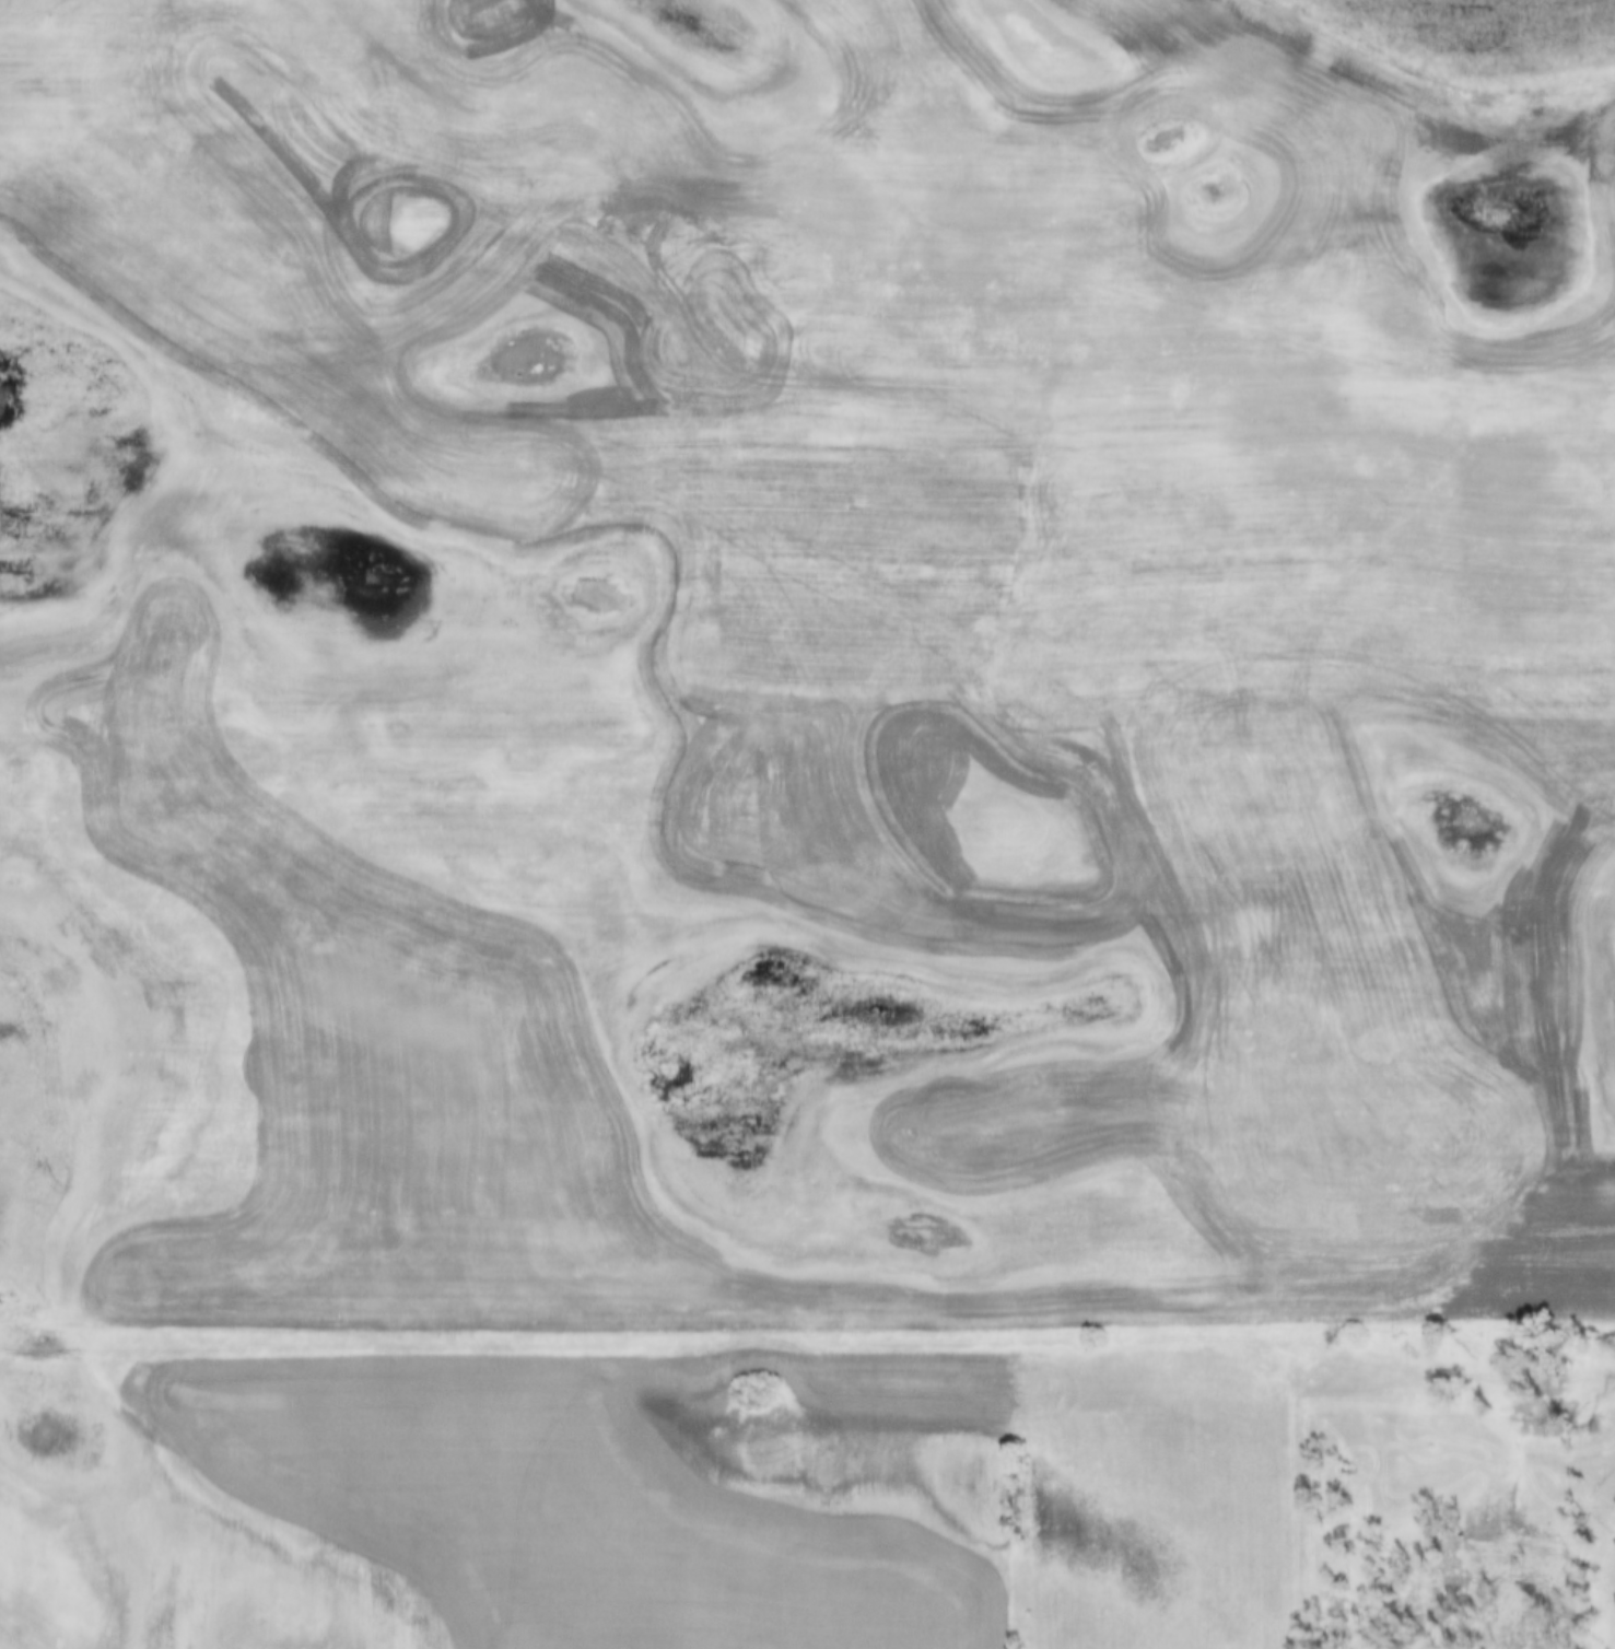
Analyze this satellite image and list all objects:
road: (821, 1348)

